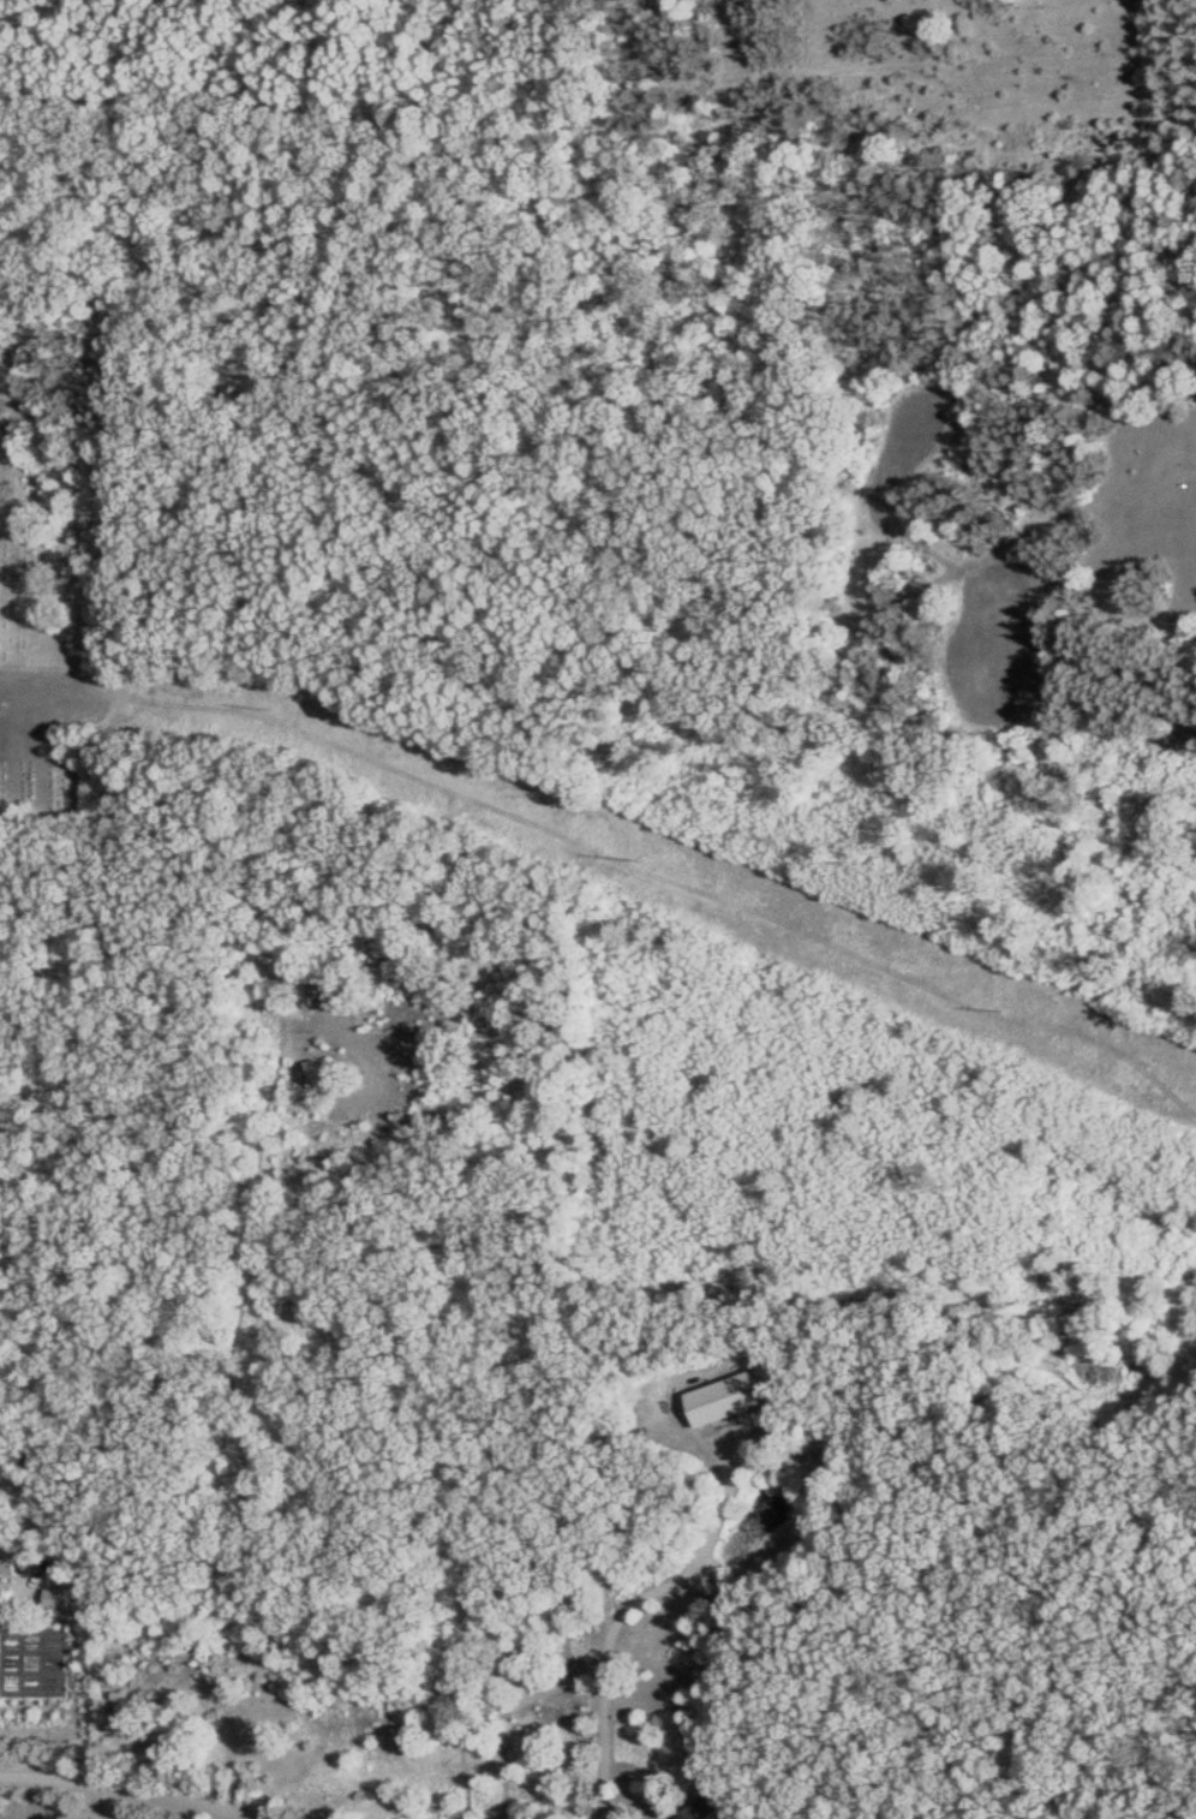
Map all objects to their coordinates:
building: (12, 1559)
road: (127, 1787)
road: (102, 1801)
building: (705, 1807)

